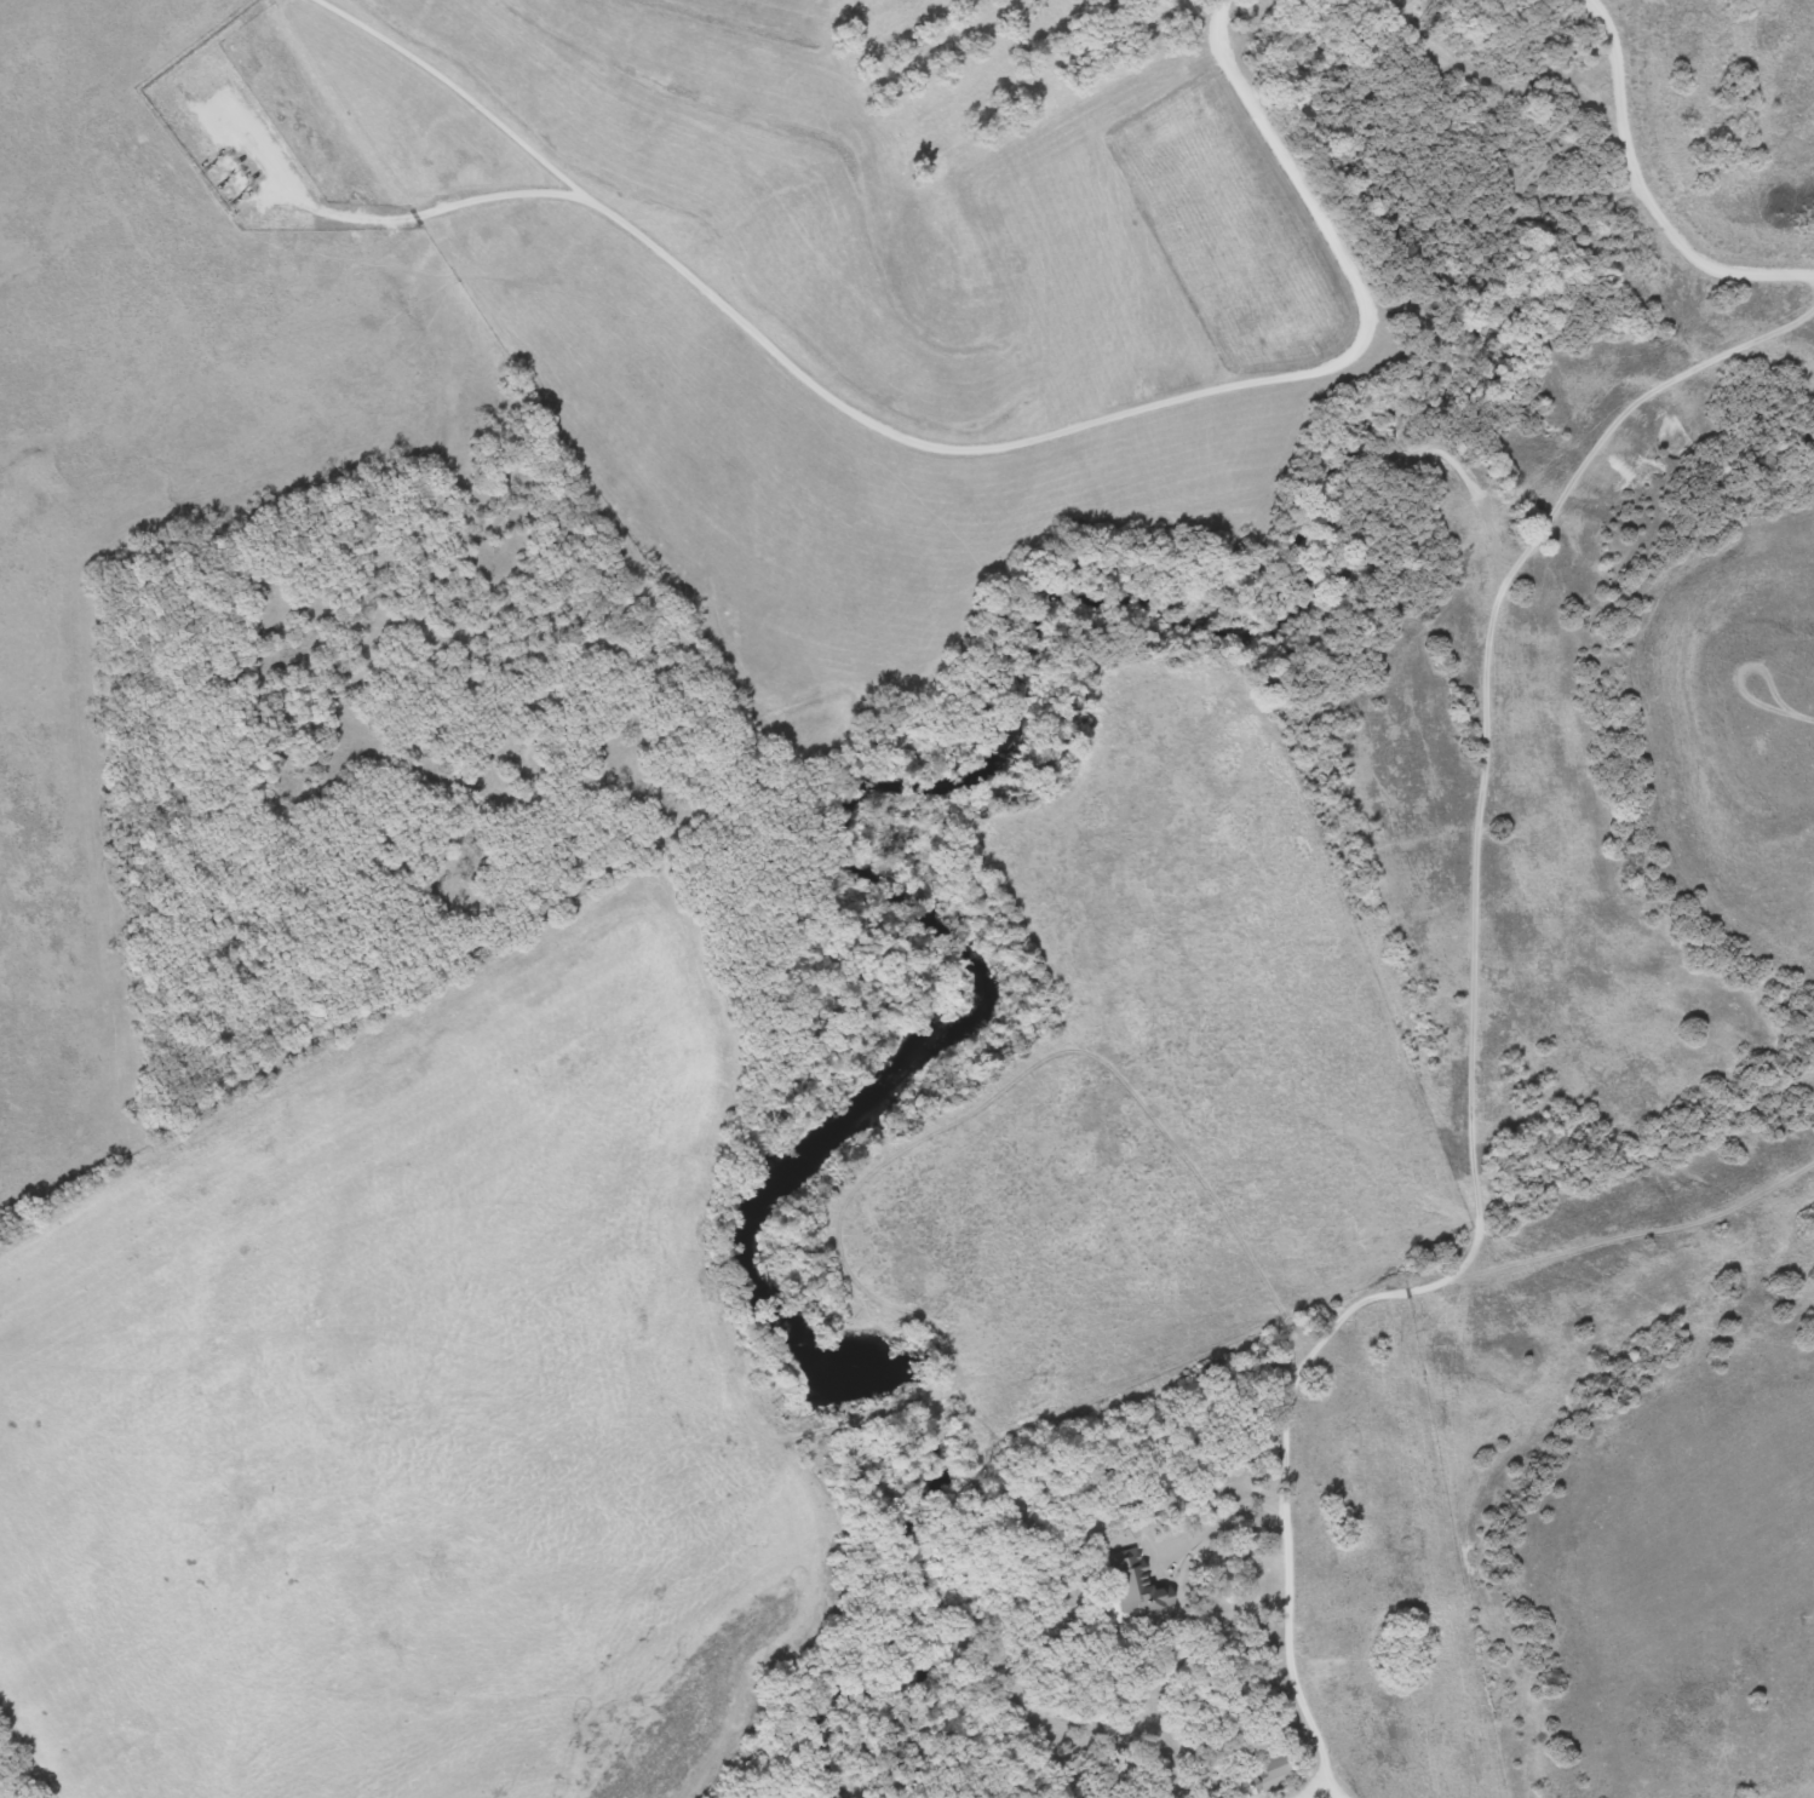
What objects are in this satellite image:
road: (1642, 189)
road: (963, 442)
building: (1124, 1582)
road: (1278, 1610)

